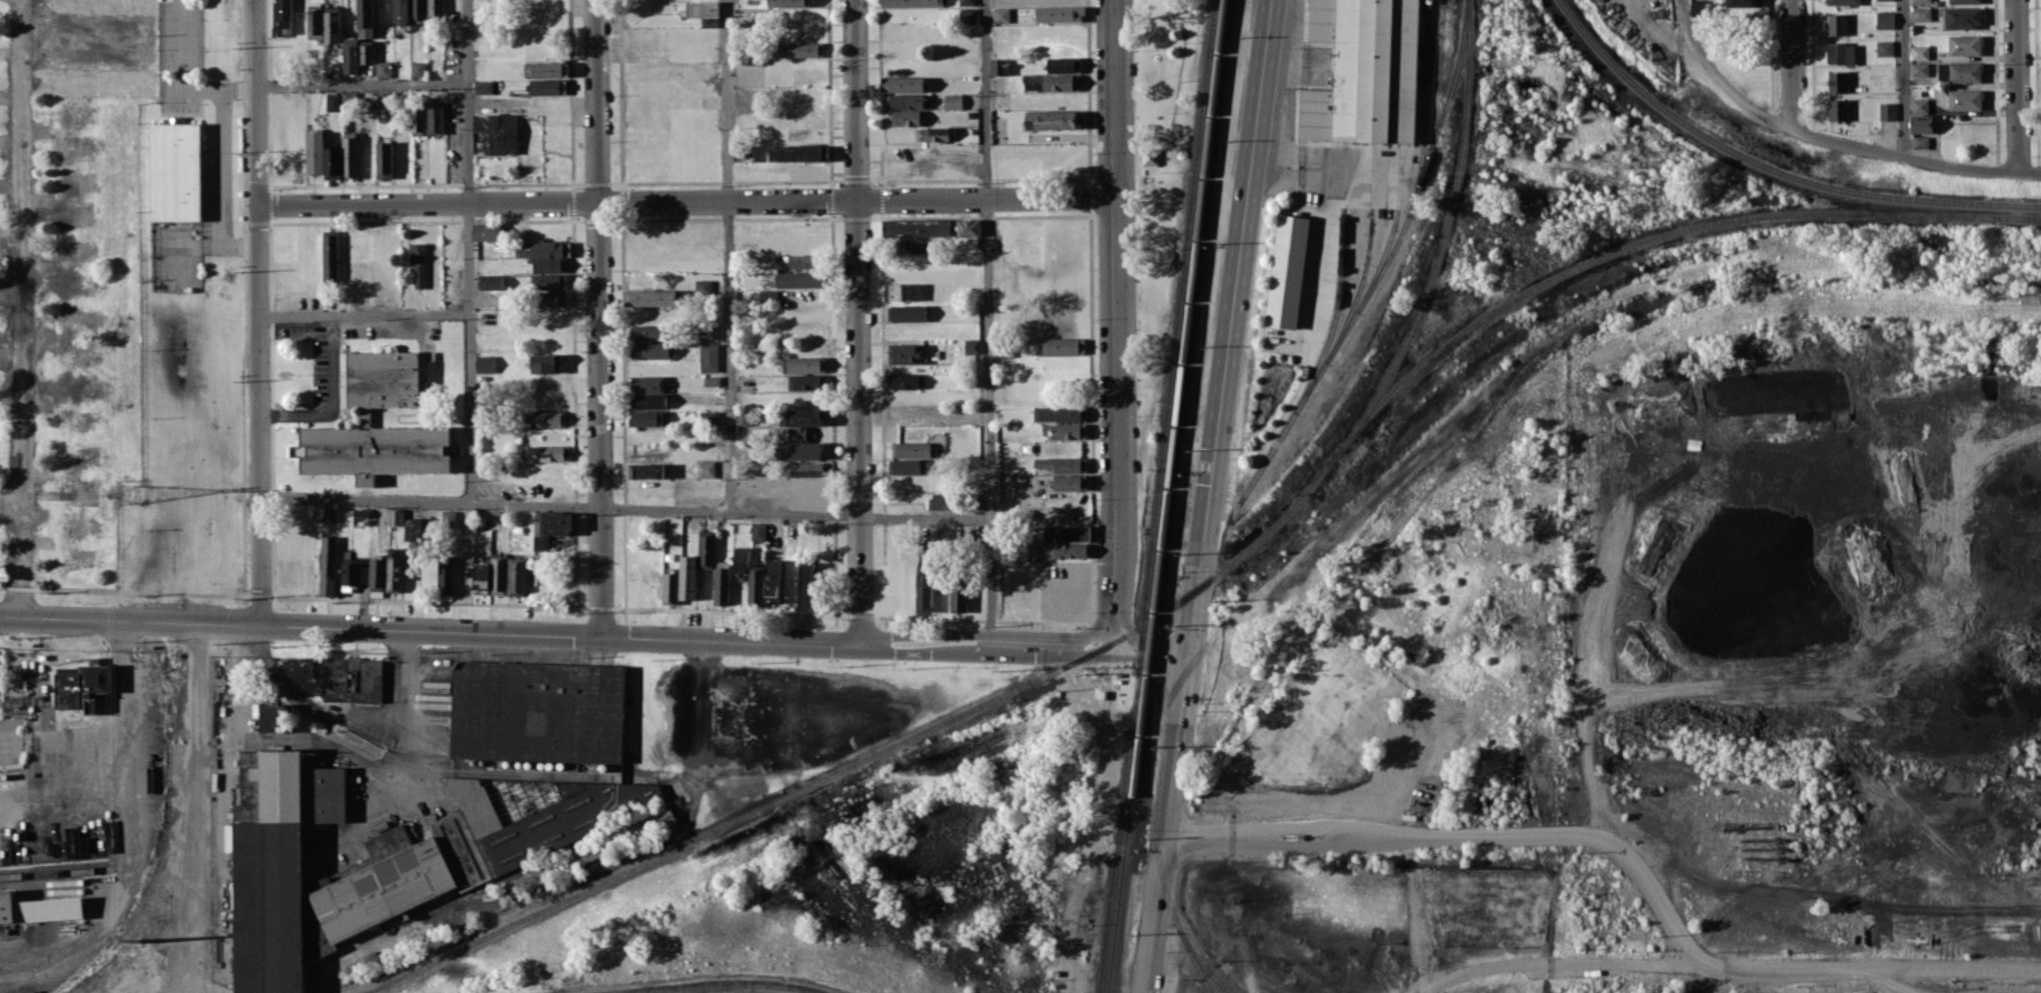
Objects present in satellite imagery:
building: (1877, 0)
building: (1921, 1)
building: (1964, 1)
building: (967, 2)
building: (1843, 2)
building: (789, 3)
building: (911, 3)
building: (1742, 3)
building: (1697, 6)
building: (426, 9)
building: (703, 9)
building: (402, 12)
building: (1001, 14)
building: (1060, 14)
building: (1920, 14)
building: (283, 16)
building: (968, 16)
building: (1962, 17)
building: (366, 18)
building: (1884, 19)
building: (315, 23)
building: (1836, 24)
building: (332, 26)
building: (1964, 44)
building: (1884, 47)
building: (797, 49)
building: (1919, 52)
building: (366, 53)
building: (1840, 53)
building: (350, 55)
building: (1063, 64)
road: (1792, 64)
building: (999, 66)
building: (383, 69)
building: (418, 69)
building: (544, 69)
building: (1919, 69)
building: (1366, 71)
railway: (1374, 71)
railway: (1403, 71)
building: (1959, 72)
road: (1903, 78)
road: (1719, 79)
building: (1837, 81)
building: (1051, 82)
road: (180, 83)
building: (903, 83)
road: (362, 84)
road: (85, 85)
building: (483, 86)
building: (547, 86)
road: (2017, 86)
building: (1964, 99)
road: (1113, 100)
building: (904, 101)
building: (953, 101)
building: (333, 102)
building: (1919, 104)
railway: (1422, 108)
building: (1837, 109)
building: (1886, 111)
building: (907, 116)
building: (417, 117)
building: (435, 118)
building: (1051, 120)
building: (1920, 123)
building: (496, 133)
building: (932, 133)
building: (1920, 141)
building: (315, 152)
building: (798, 153)
building: (350, 156)
building: (1149, 157)
road: (1904, 157)
building: (384, 159)
building: (333, 162)
railway: (1768, 169)
building: (177, 170)
road: (2030, 172)
road: (222, 186)
road: (686, 202)
building: (916, 227)
building: (968, 227)
railway: (1390, 228)
building: (486, 231)
railway: (1646, 242)
building: (915, 246)
road: (1114, 248)
railway: (1441, 248)
road: (469, 251)
building: (331, 254)
building: (547, 254)
railway: (1365, 255)
road: (727, 256)
building: (803, 261)
building: (418, 263)
railway: (1384, 264)
building: (1288, 266)
building: (801, 279)
building: (491, 281)
building: (549, 281)
building: (309, 282)
building: (703, 286)
building: (902, 291)
road: (11, 293)
building: (650, 297)
building: (552, 299)
road: (23, 308)
road: (259, 311)
building: (906, 312)
road: (364, 314)
railway: (1334, 314)
road: (599, 318)
road: (856, 322)
road: (988, 322)
road: (1229, 326)
building: (649, 332)
building: (707, 333)
building: (1063, 345)
building: (971, 346)
building: (653, 350)
building: (906, 353)
building: (708, 357)
building: (298, 363)
building: (485, 363)
building: (546, 363)
building: (804, 364)
building: (712, 380)
building: (905, 380)
building: (804, 381)
building: (300, 383)
building: (648, 392)
road: (11, 399)
road: (331, 400)
building: (1059, 413)
building: (709, 415)
building: (366, 416)
building: (646, 417)
building: (743, 417)
building: (545, 418)
building: (796, 424)
building: (1064, 430)
road: (1113, 435)
building: (910, 449)
building: (801, 450)
building: (545, 452)
building: (1062, 464)
building: (906, 466)
building: (705, 468)
building: (807, 469)
building: (646, 470)
building: (1070, 482)
railway: (1157, 496)
railway: (1166, 496)
power tower: (130, 498)
building: (941, 501)
road: (11, 502)
road: (625, 509)
building: (361, 512)
building: (330, 514)
building: (396, 516)
building: (448, 518)
building: (552, 528)
railway: (1175, 529)
building: (758, 531)
building: (413, 533)
building: (1067, 541)
building: (740, 559)
building: (697, 564)
building: (328, 565)
building: (394, 574)
building: (367, 575)
building: (445, 575)
building: (481, 575)
building: (498, 575)
building: (517, 576)
building: (772, 581)
building: (721, 585)
building: (755, 585)
building: (807, 586)
building: (670, 588)
building: (924, 588)
building: (959, 595)
road: (1113, 607)
road: (430, 629)
road: (927, 632)
road: (1086, 632)
road: (1150, 648)
road: (1053, 649)
road: (926, 653)
traffic signals: (1188, 653)
building: (352, 679)
building: (82, 684)
building: (537, 709)
road: (236, 710)
building: (274, 716)
road: (105, 738)
road: (696, 740)
road: (408, 747)
railway: (864, 759)
building: (543, 813)
road: (1164, 822)
building: (649, 823)
road: (1470, 835)
railway: (1153, 837)
building: (277, 863)
railway: (56, 872)
building: (402, 877)
building: (38, 909)
railway: (1199, 961)
road: (1732, 976)
railway: (719, 982)
power tower: (135, 983)
railway: (1229, 991)

